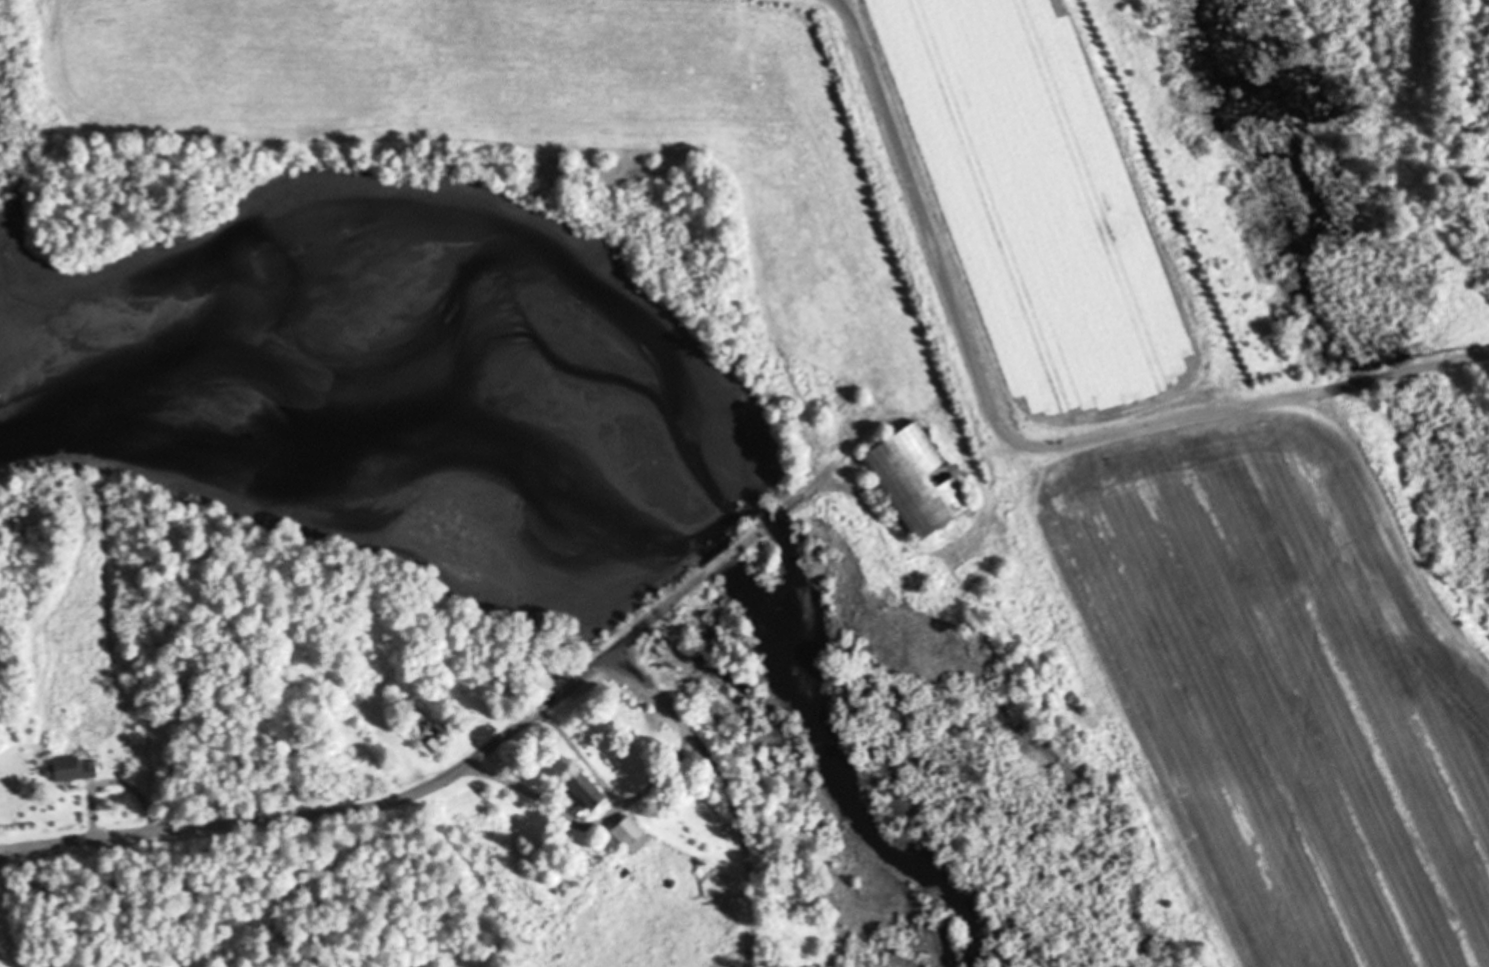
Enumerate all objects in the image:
river: (376, 425)
road: (1016, 443)
building: (917, 481)
road: (773, 515)
road: (719, 559)
dam: (724, 563)
road: (682, 729)
building: (431, 747)
building: (71, 769)
river: (841, 776)
road: (112, 780)
building: (584, 794)
road: (384, 800)
road: (599, 821)
building: (630, 835)
road: (742, 835)

